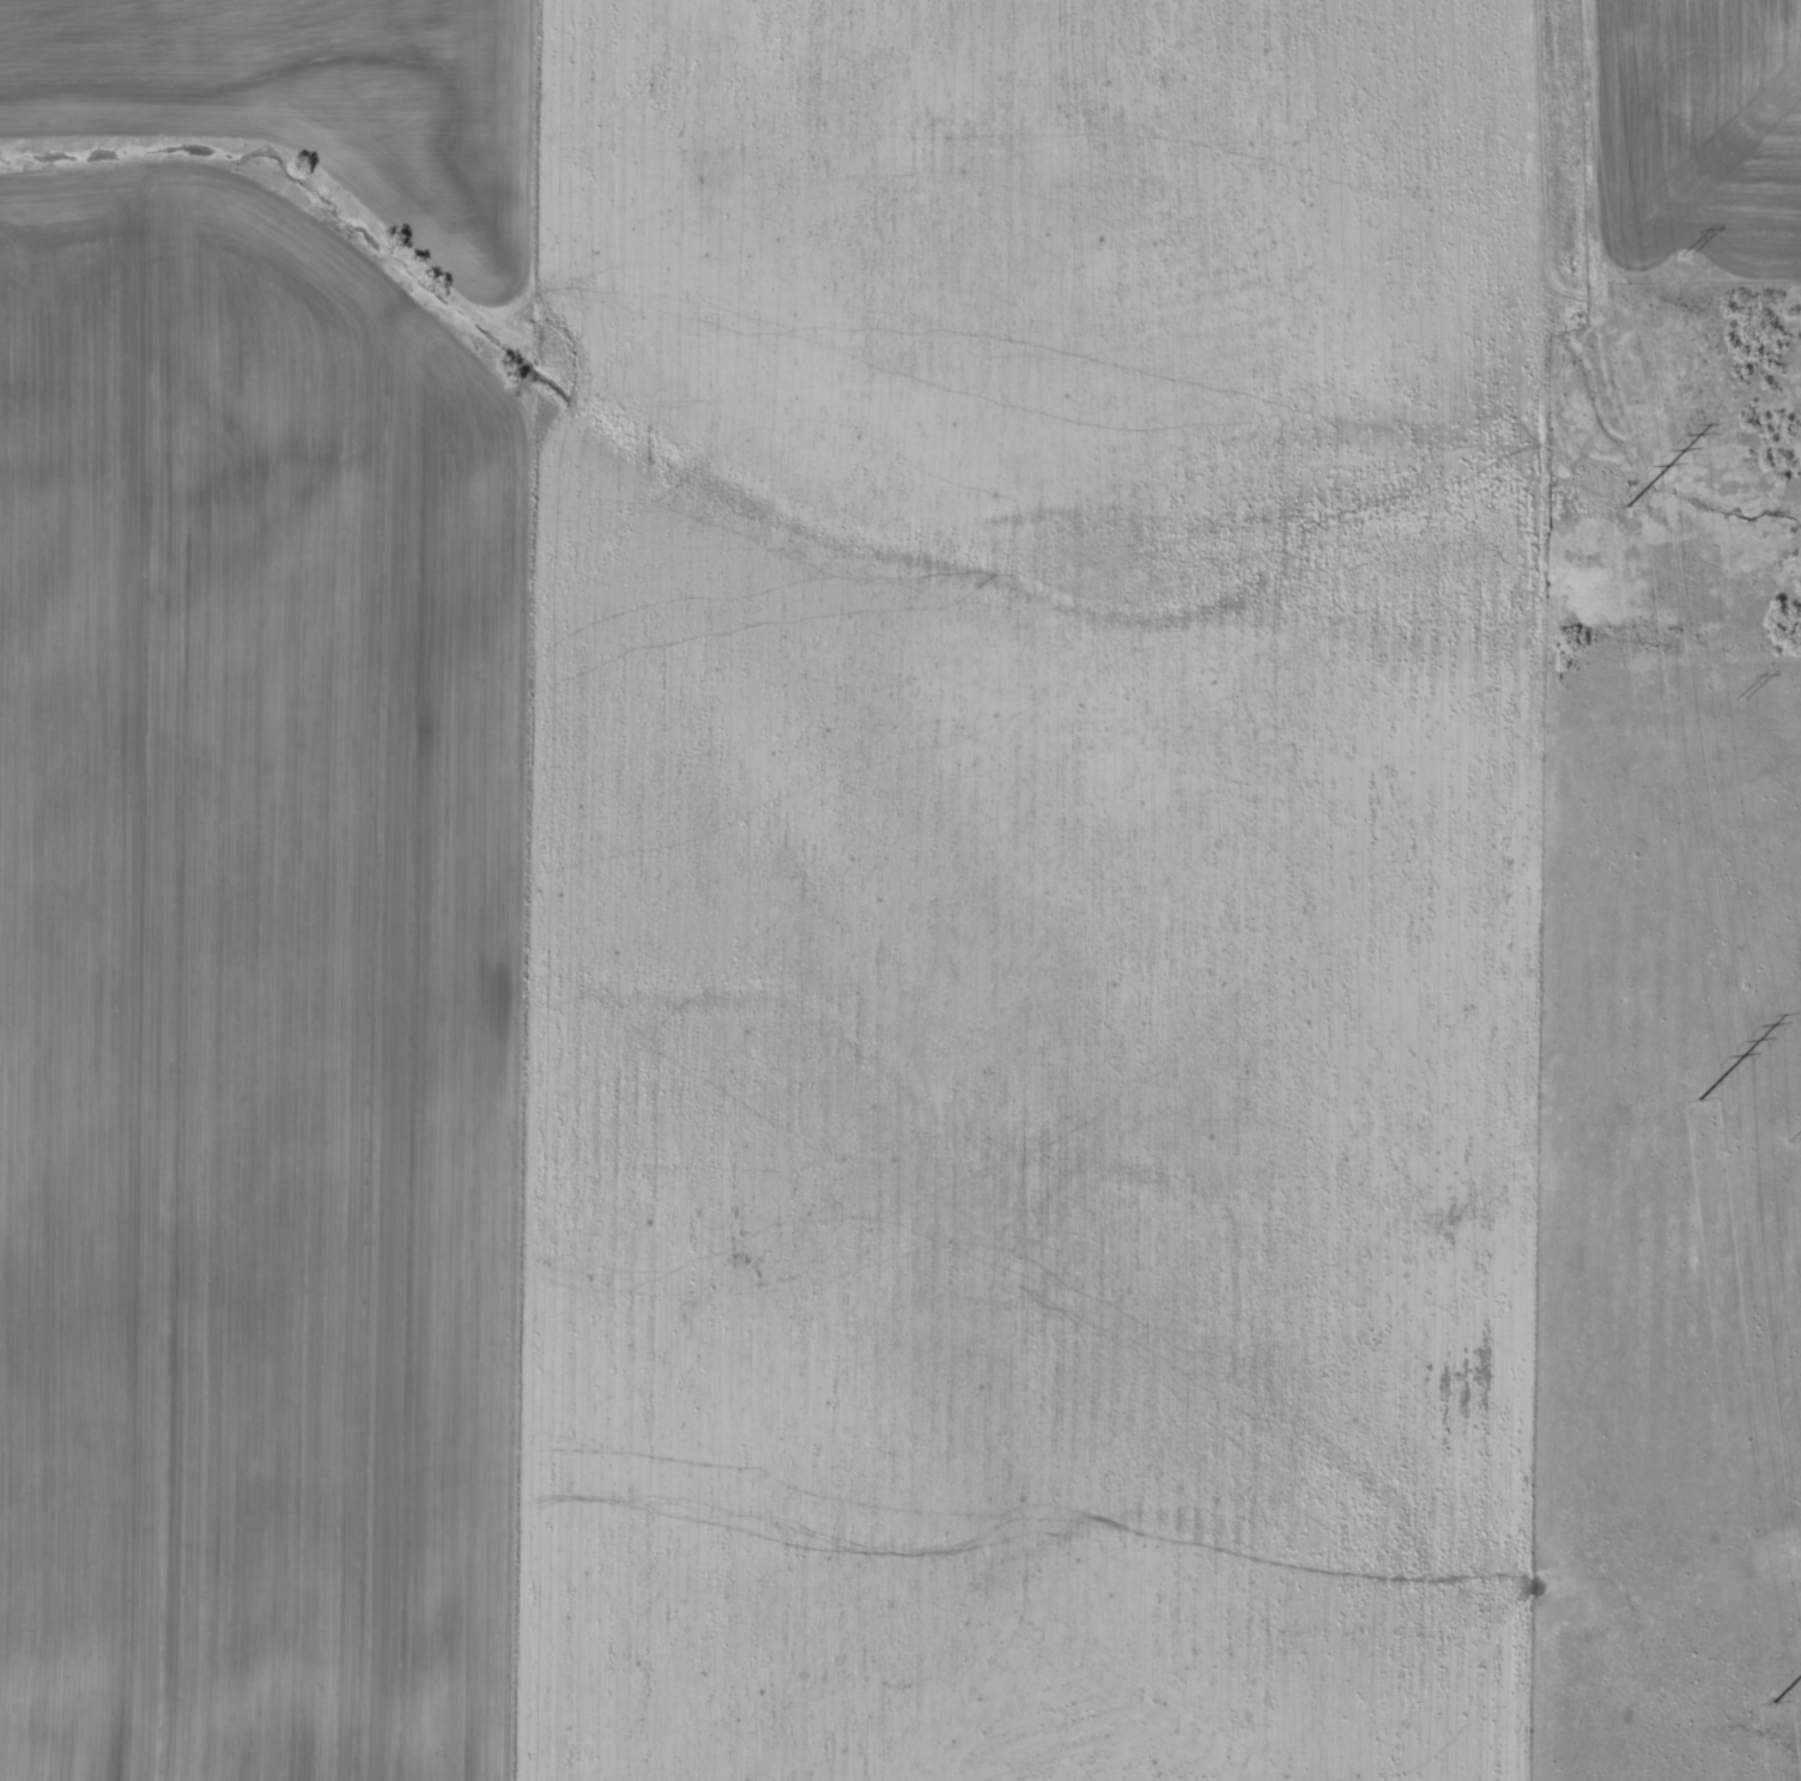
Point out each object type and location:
power tower: (1684, 250)
power tower: (1627, 505)
power tower: (1741, 697)
power tower: (1700, 1100)
power tower: (1795, 1139)
power tower: (1773, 1703)

